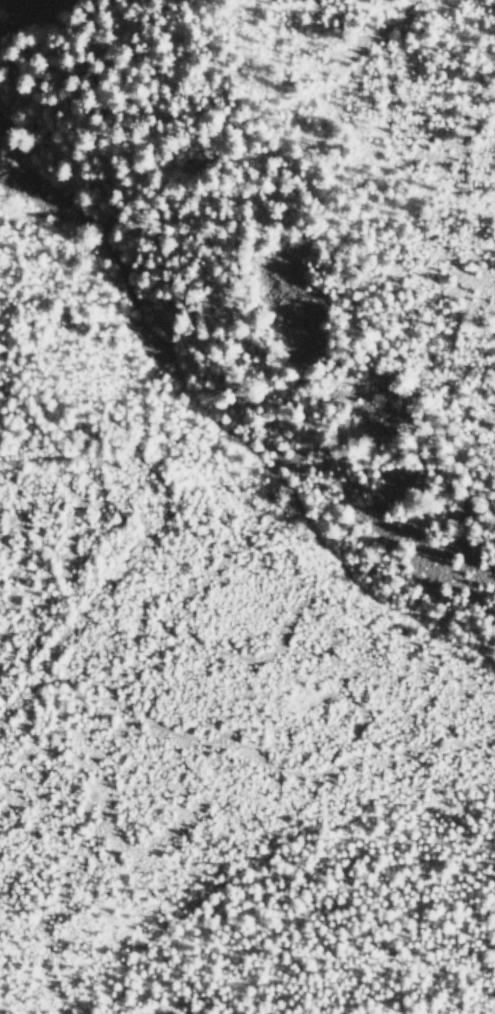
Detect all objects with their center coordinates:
road: (125, 546)

